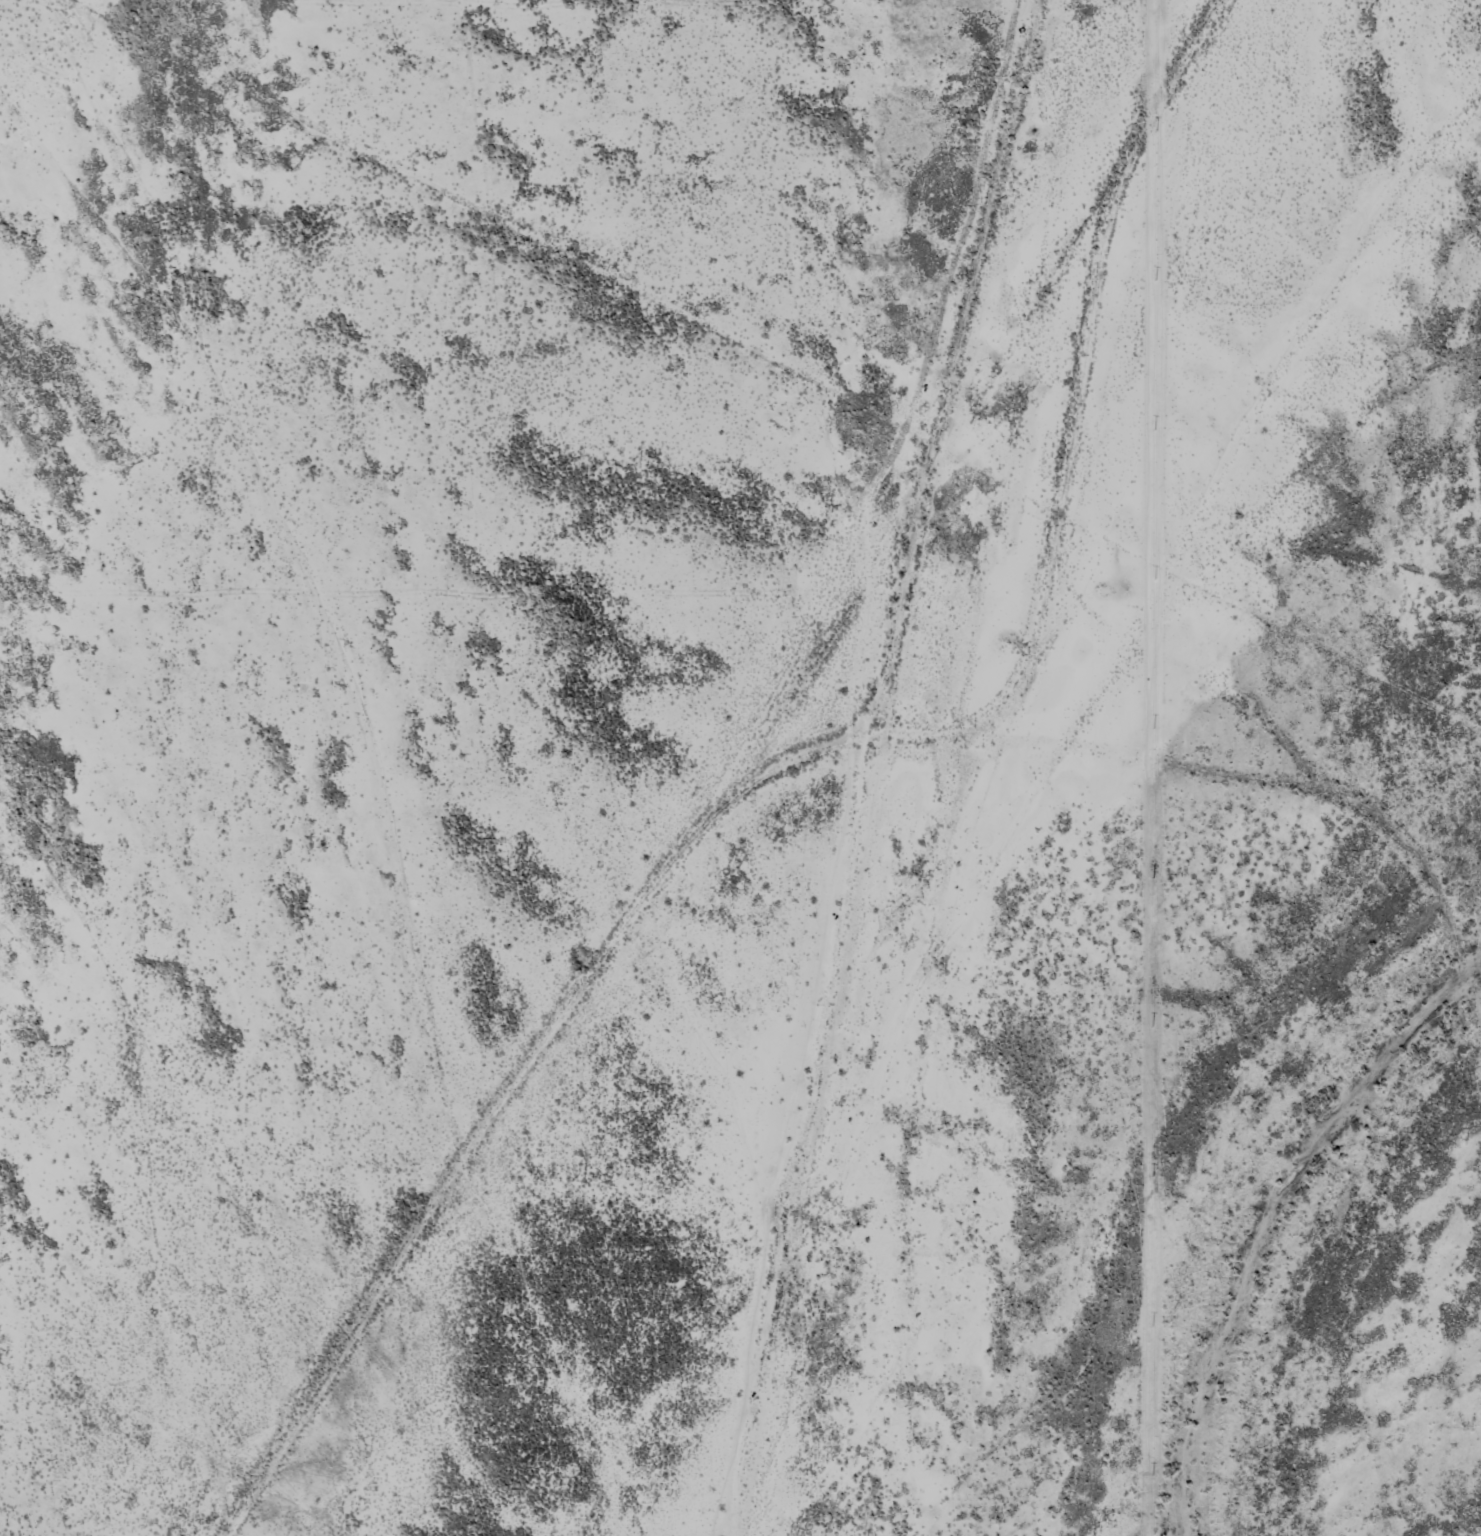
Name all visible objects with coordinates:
road: (1103, 368)
road: (920, 488)
road: (1205, 700)
road: (721, 835)

